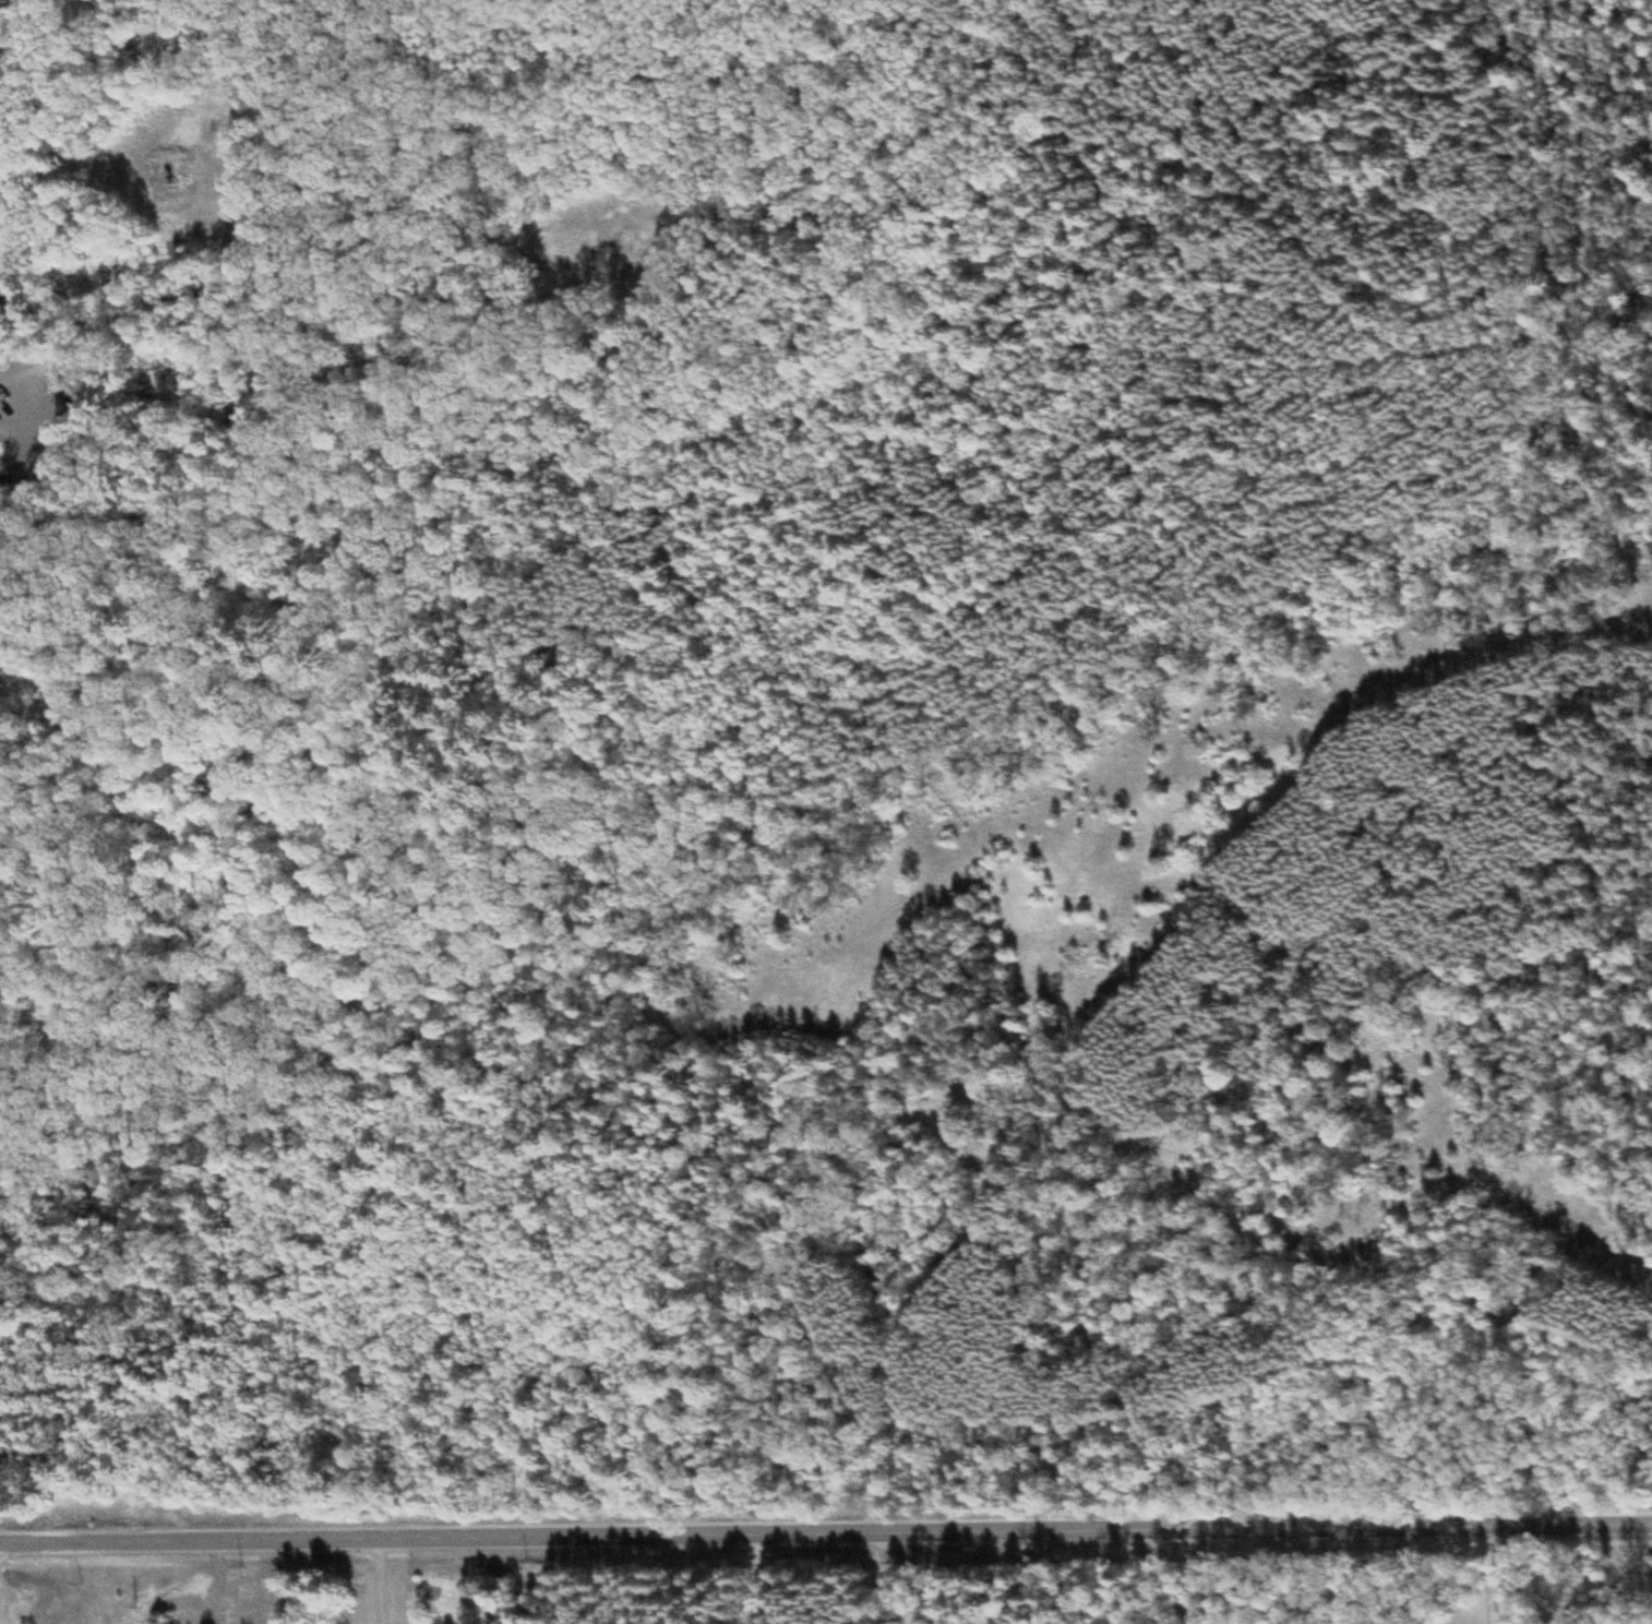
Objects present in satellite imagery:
road: (67, 244)
road: (1527, 321)
parking lot: (43, 419)
road: (1188, 1005)
road: (825, 1539)

